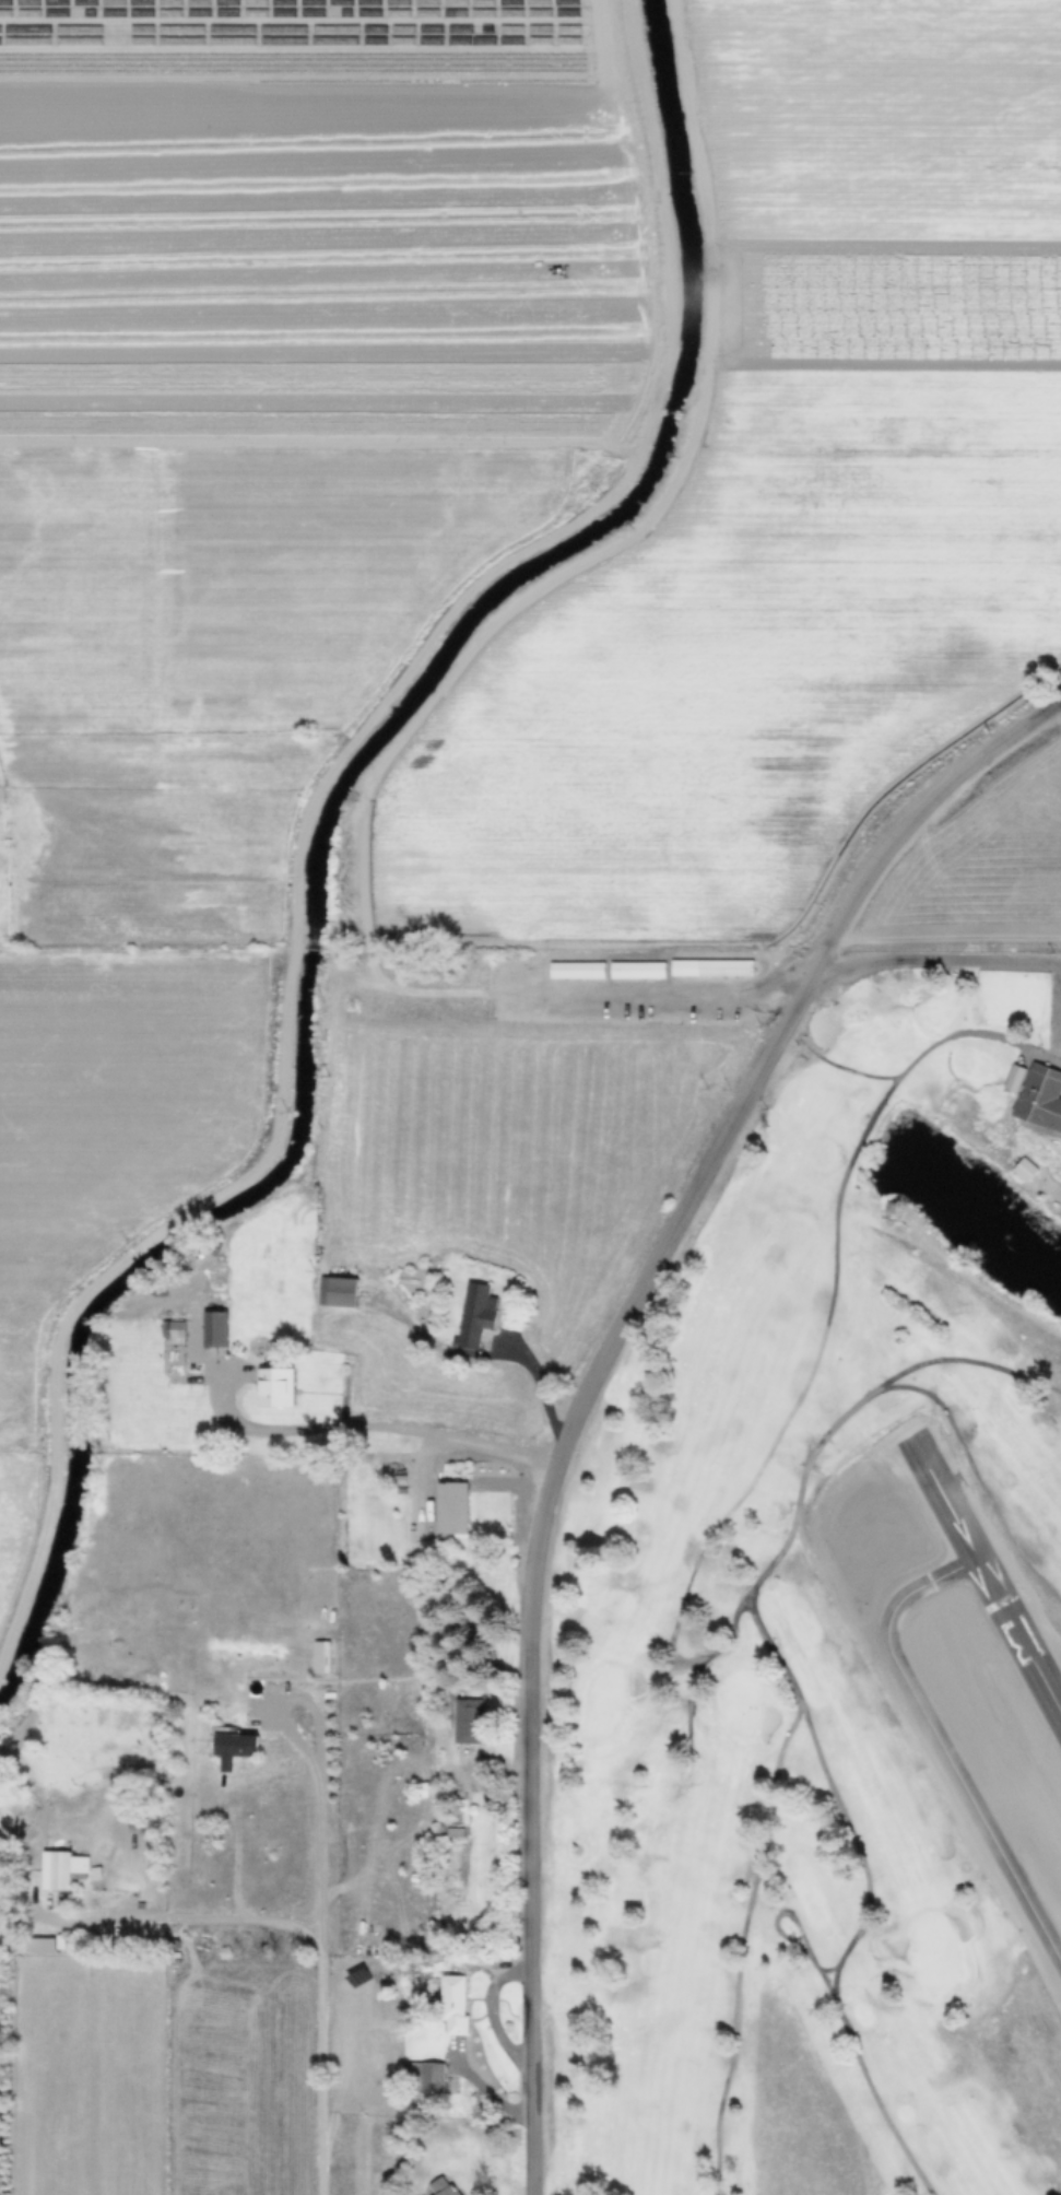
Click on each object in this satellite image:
road: (308, 819)
road: (943, 967)
building: (721, 973)
building: (586, 975)
building: (647, 975)
road: (402, 984)
building: (1046, 1097)
building: (1034, 1174)
building: (350, 1294)
building: (487, 1317)
building: (227, 1331)
building: (186, 1333)
road: (512, 1352)
road: (598, 1377)
building: (288, 1390)
road: (370, 1429)
building: (463, 1510)
airport runway: (990, 1570)
airport: (964, 1650)
road: (272, 1691)
building: (481, 1723)
airport taxiway: (944, 1739)
building: (245, 1750)
building: (56, 1869)
road: (169, 1920)
building: (45, 1941)
road: (327, 1986)
building: (465, 2008)
building: (438, 2079)
building: (452, 2187)

